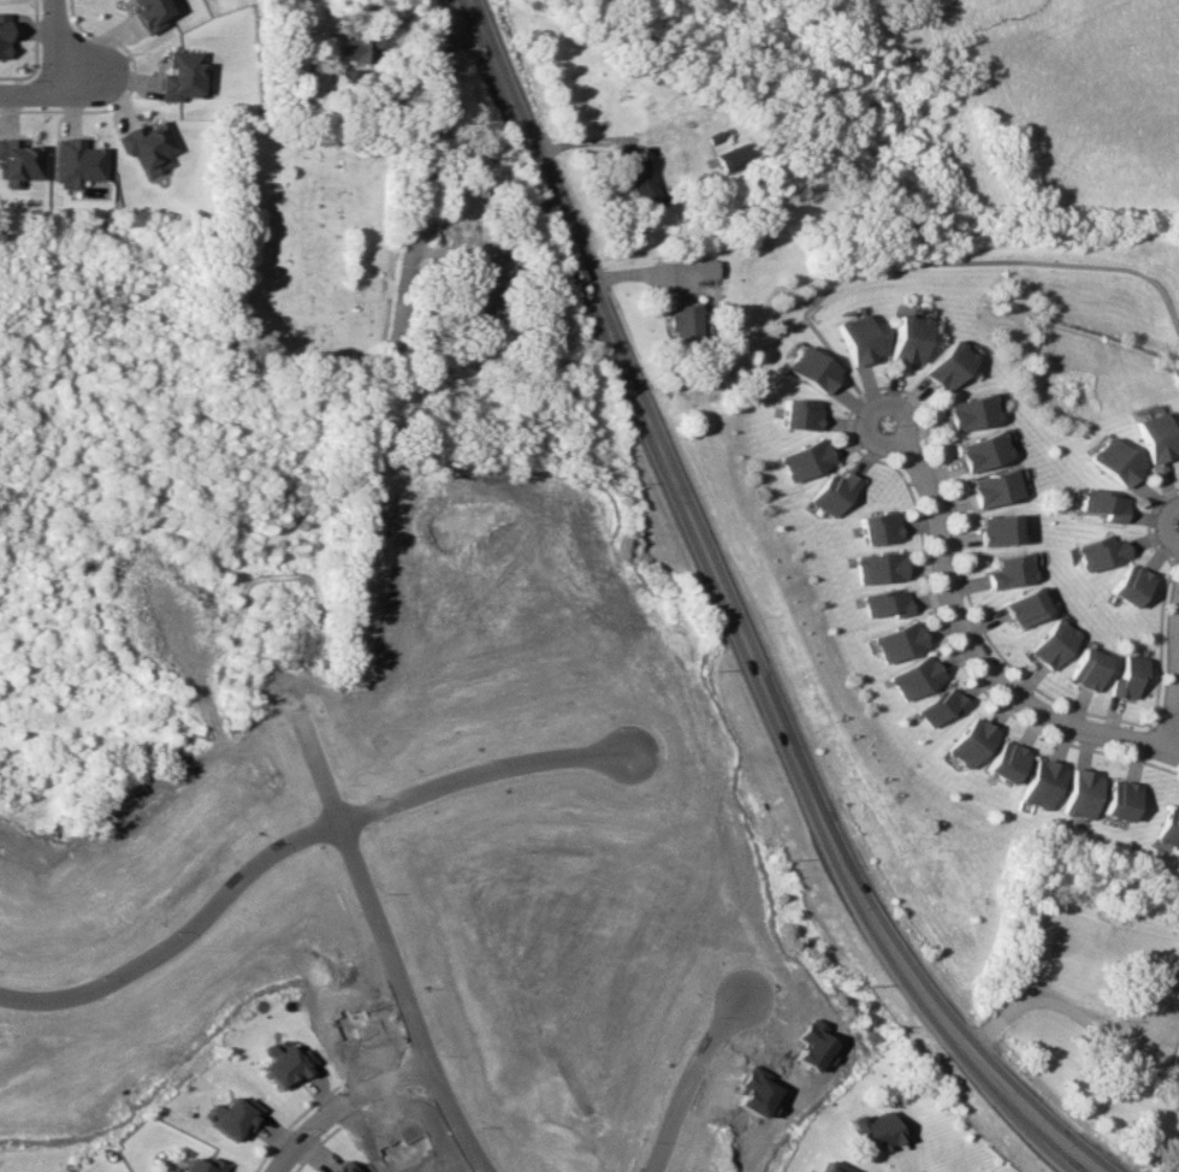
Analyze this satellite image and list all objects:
building: (2, 35)
road: (52, 37)
building: (356, 49)
road: (79, 75)
building: (182, 75)
road: (34, 93)
building: (149, 146)
building: (730, 156)
building: (18, 161)
building: (76, 161)
building: (640, 184)
road: (423, 187)
park: (307, 245)
road: (931, 261)
building: (701, 270)
building: (486, 286)
building: (682, 321)
building: (854, 338)
building: (903, 338)
road: (622, 362)
building: (944, 365)
building: (811, 368)
building: (967, 412)
building: (800, 414)
building: (1148, 437)
building: (979, 450)
building: (806, 460)
building: (1108, 461)
building: (991, 487)
building: (834, 492)
building: (1101, 504)
building: (877, 527)
building: (995, 529)
building: (1097, 551)
building: (878, 567)
building: (1007, 570)
building: (1127, 585)
building: (885, 603)
building: (1021, 606)
road: (970, 637)
building: (896, 641)
building: (1048, 643)
building: (1083, 668)
building: (913, 676)
road: (1175, 676)
building: (1124, 677)
building: (938, 705)
building: (967, 741)
road: (1169, 753)
building: (1002, 760)
building: (1037, 783)
building: (1077, 793)
building: (1115, 799)
building: (1167, 828)
road: (291, 839)
road: (380, 948)
road: (906, 975)
road: (1054, 1004)
building: (1177, 1058)
building: (283, 1065)
road: (683, 1078)
road: (338, 1103)
building: (233, 1117)
building: (875, 1130)
building: (201, 1165)
building: (833, 1167)
building: (340, 1168)

